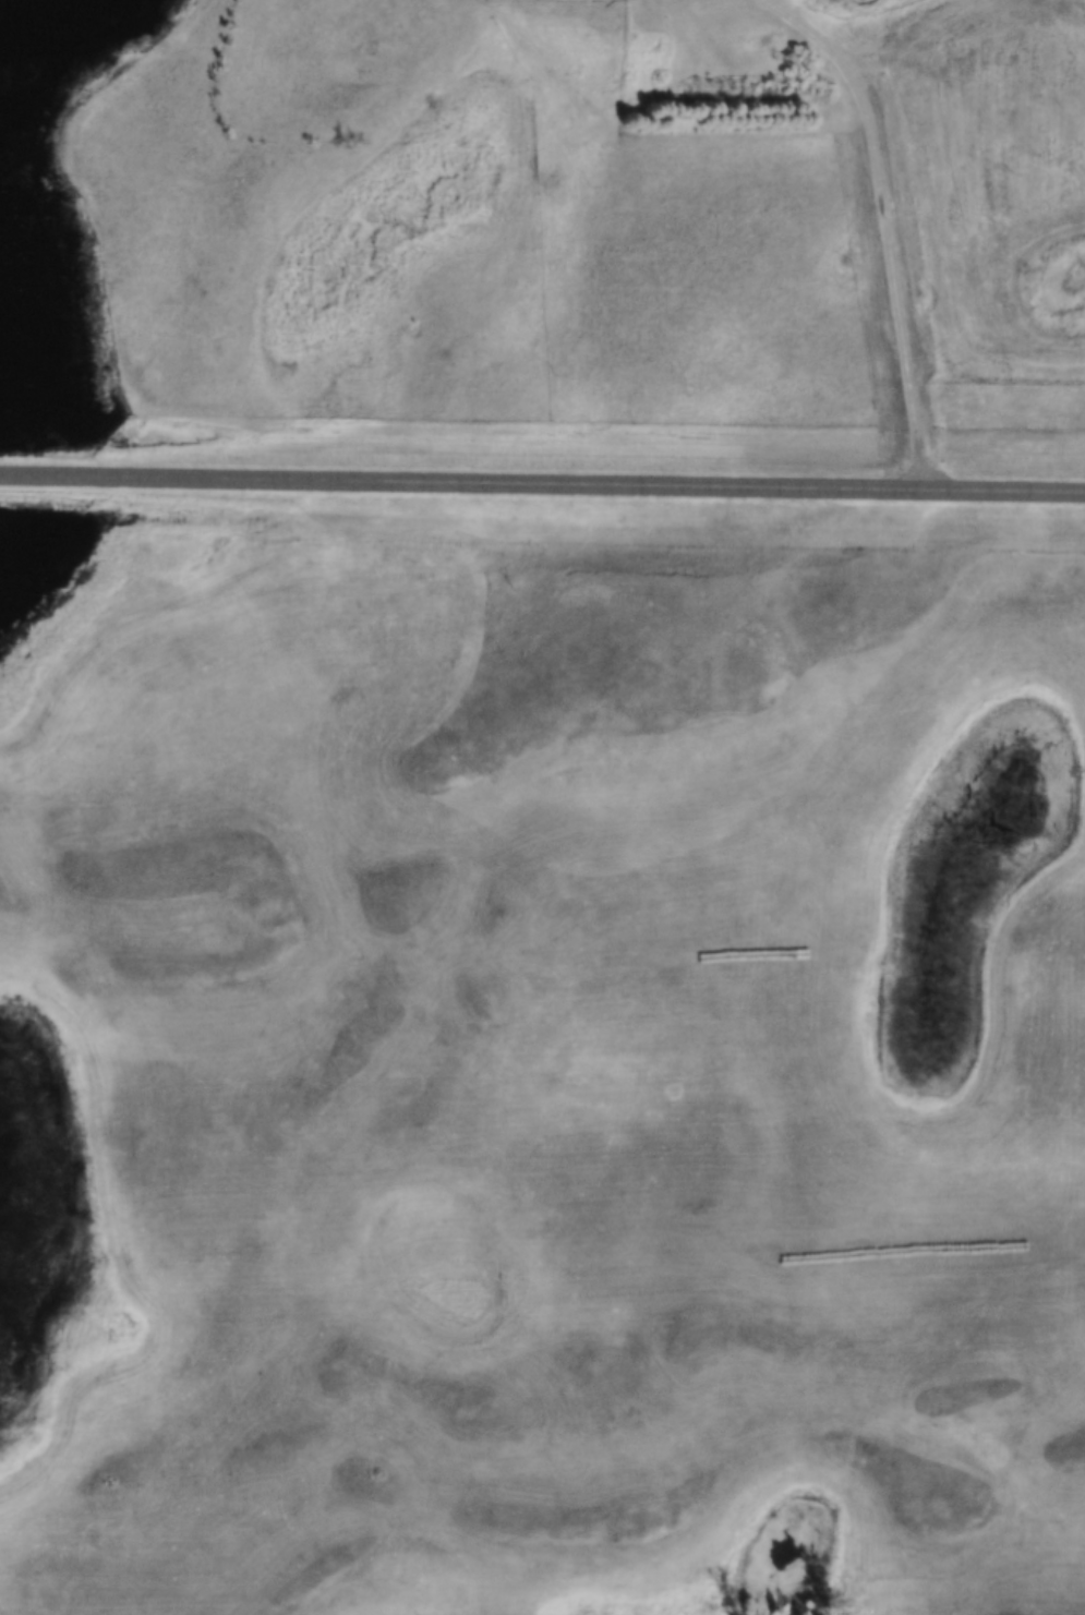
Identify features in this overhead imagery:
road: (889, 221)
road: (542, 482)

